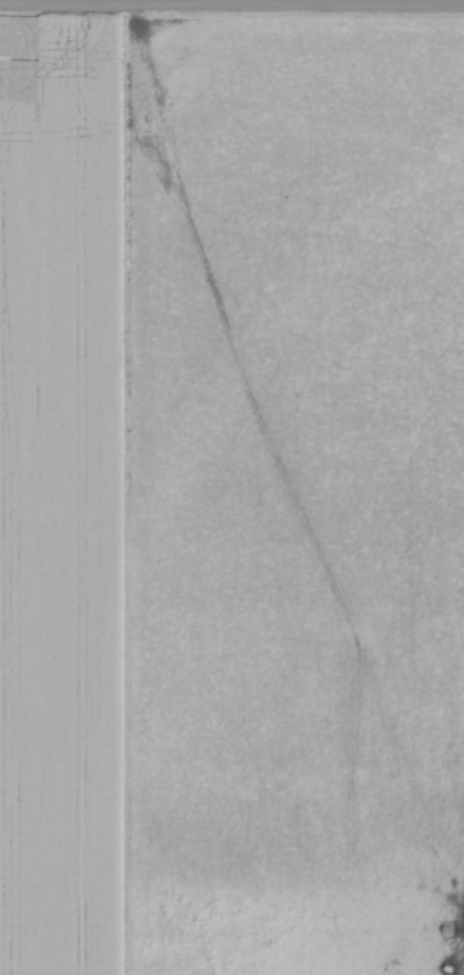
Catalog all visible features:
road: (232, 6)

